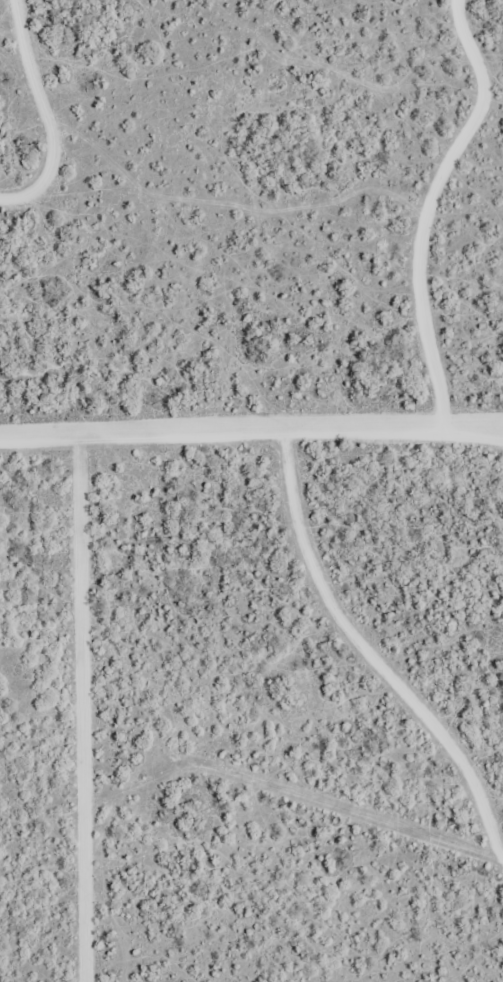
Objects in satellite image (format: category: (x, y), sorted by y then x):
road: (242, 617)

